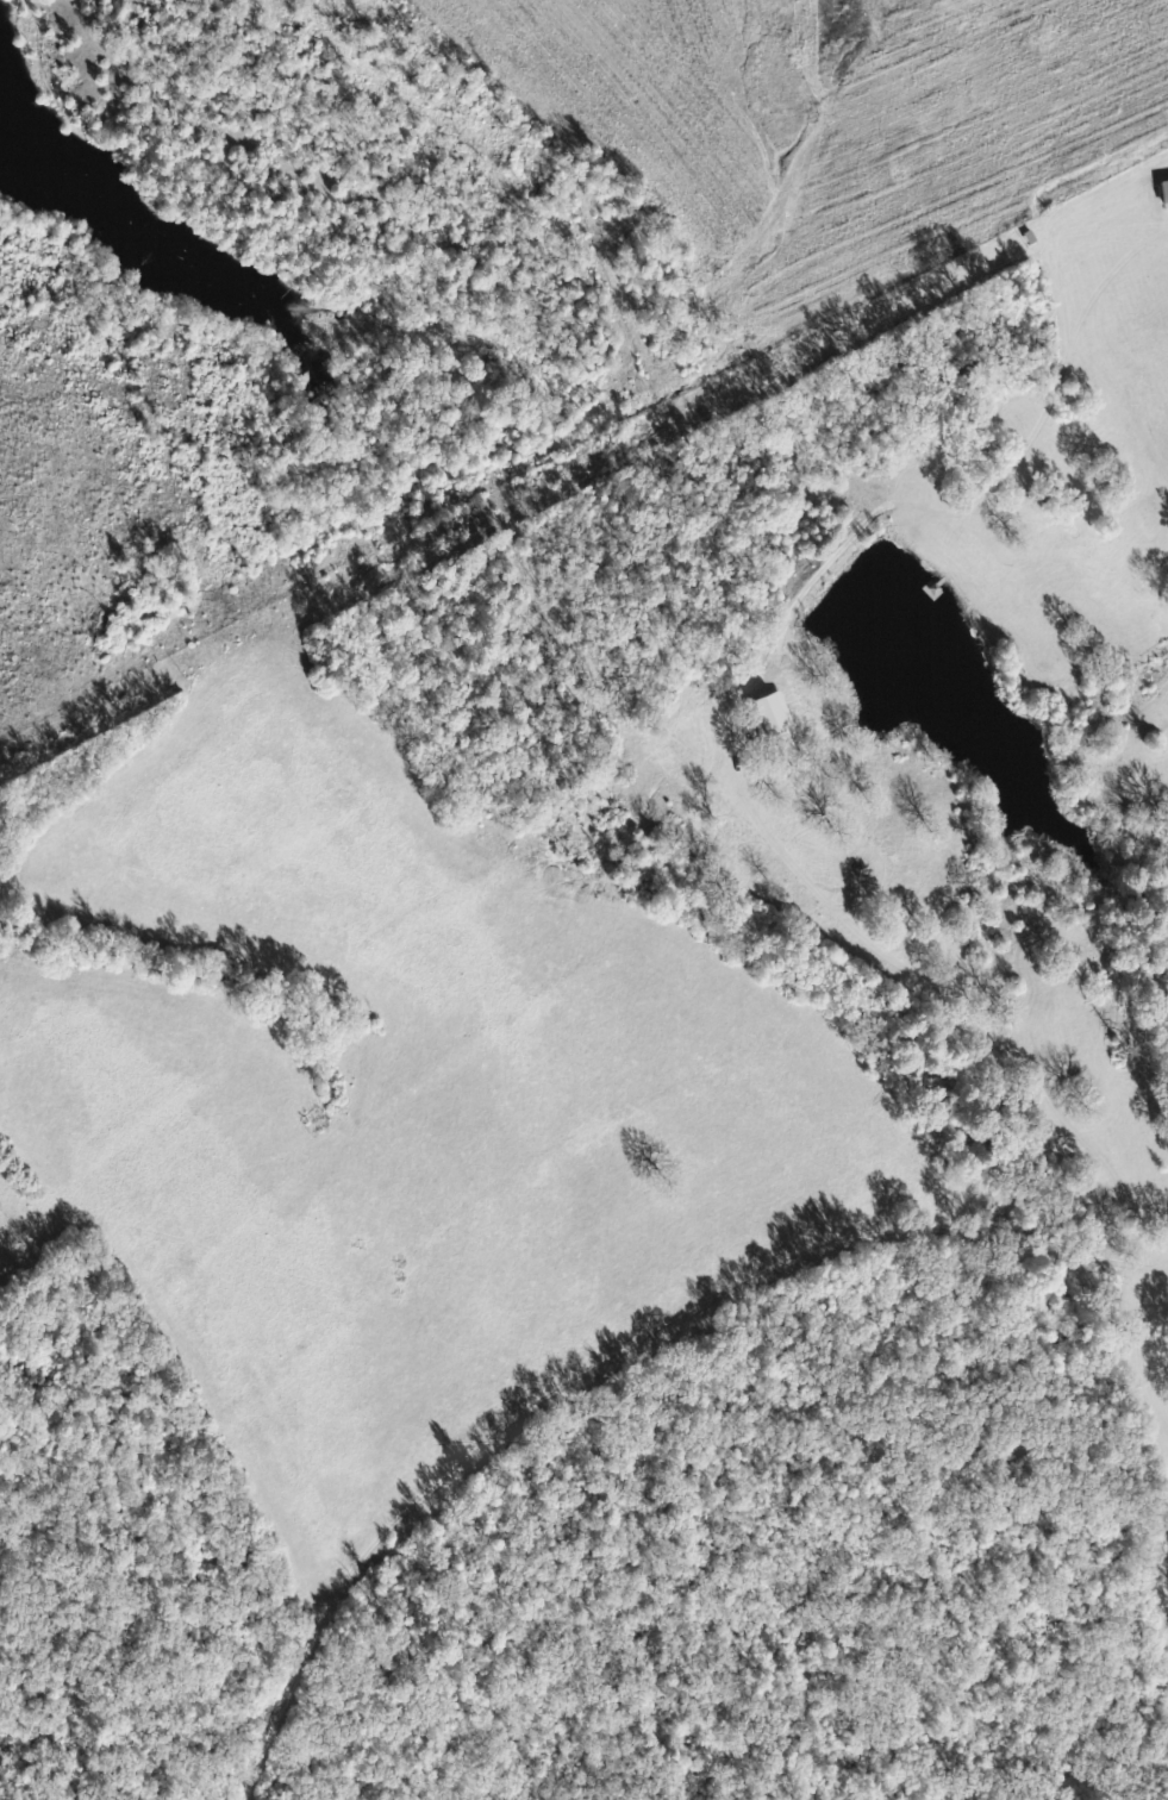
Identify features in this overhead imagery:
building: (777, 717)

